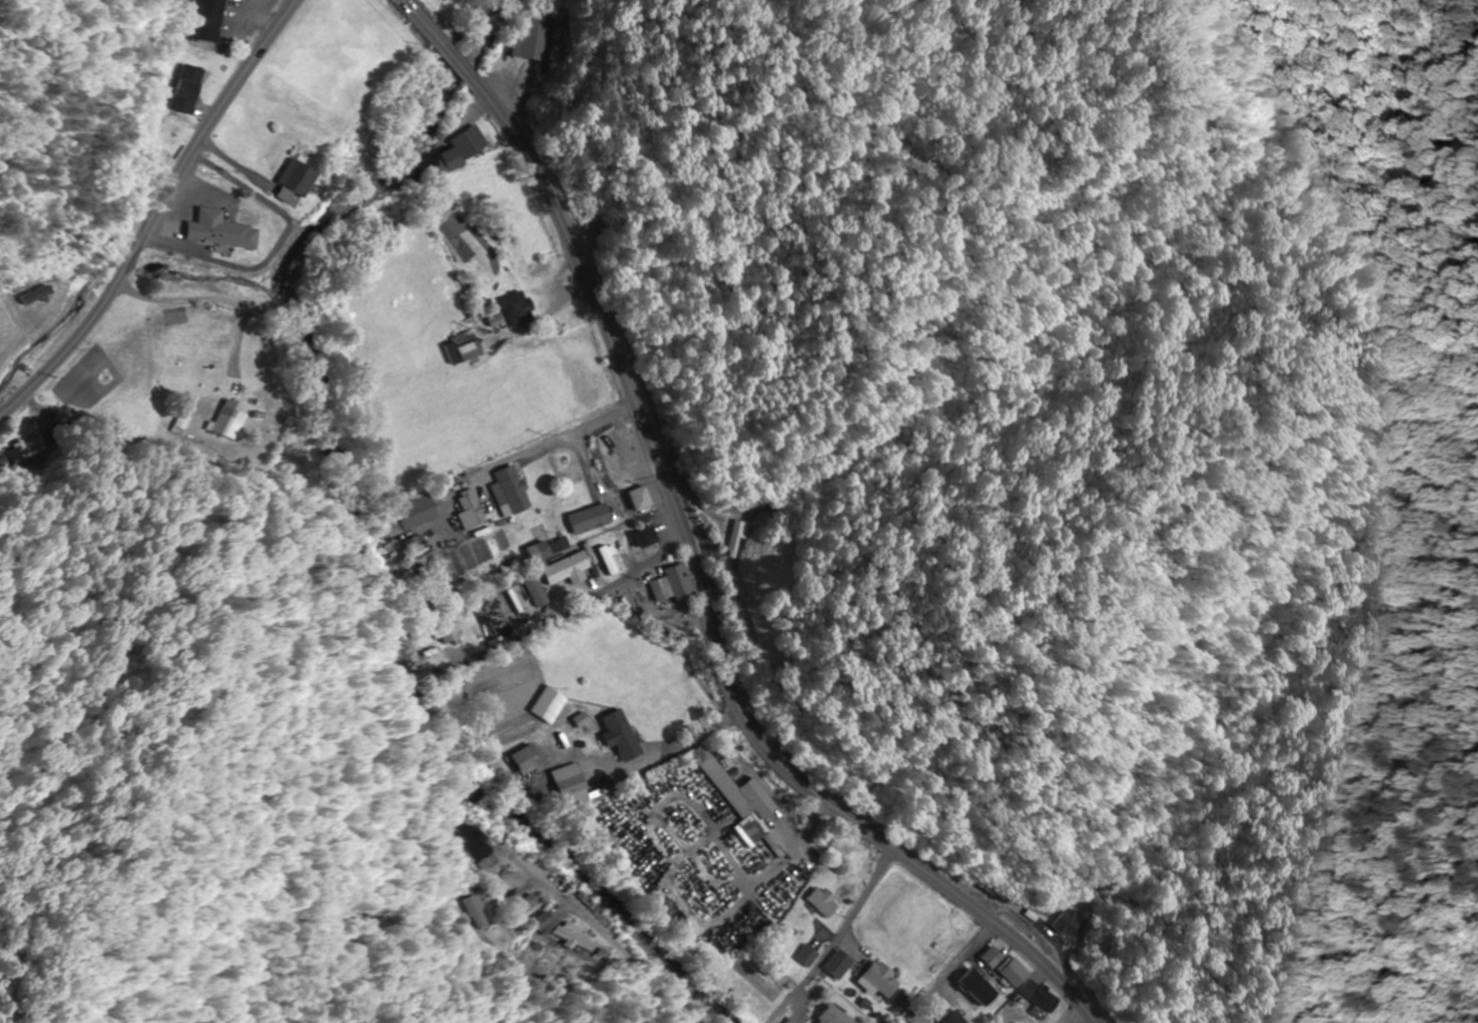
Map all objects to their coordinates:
building: (218, 19)
building: (529, 37)
building: (198, 88)
building: (463, 142)
building: (436, 162)
building: (300, 181)
road: (158, 215)
building: (225, 230)
building: (499, 230)
building: (515, 308)
building: (462, 351)
building: (186, 423)
building: (232, 423)
road: (568, 431)
building: (509, 491)
building: (639, 498)
building: (470, 511)
building: (419, 512)
building: (590, 519)
building: (737, 536)
building: (643, 537)
building: (560, 545)
building: (535, 552)
road: (698, 557)
building: (609, 562)
building: (566, 570)
building: (673, 584)
building: (534, 590)
building: (450, 632)
building: (541, 702)
building: (616, 735)
building: (519, 760)
road: (433, 783)
building: (564, 786)
building: (740, 801)
building: (477, 840)
road: (538, 876)
building: (516, 880)
building: (821, 900)
building: (474, 903)
building: (1066, 921)
building: (572, 933)
road: (833, 936)
building: (803, 955)
building: (835, 964)
building: (1002, 966)
building: (876, 977)
building: (971, 985)
building: (1035, 994)
building: (830, 1015)
building: (954, 1017)
building: (789, 1021)
building: (1011, 1022)

